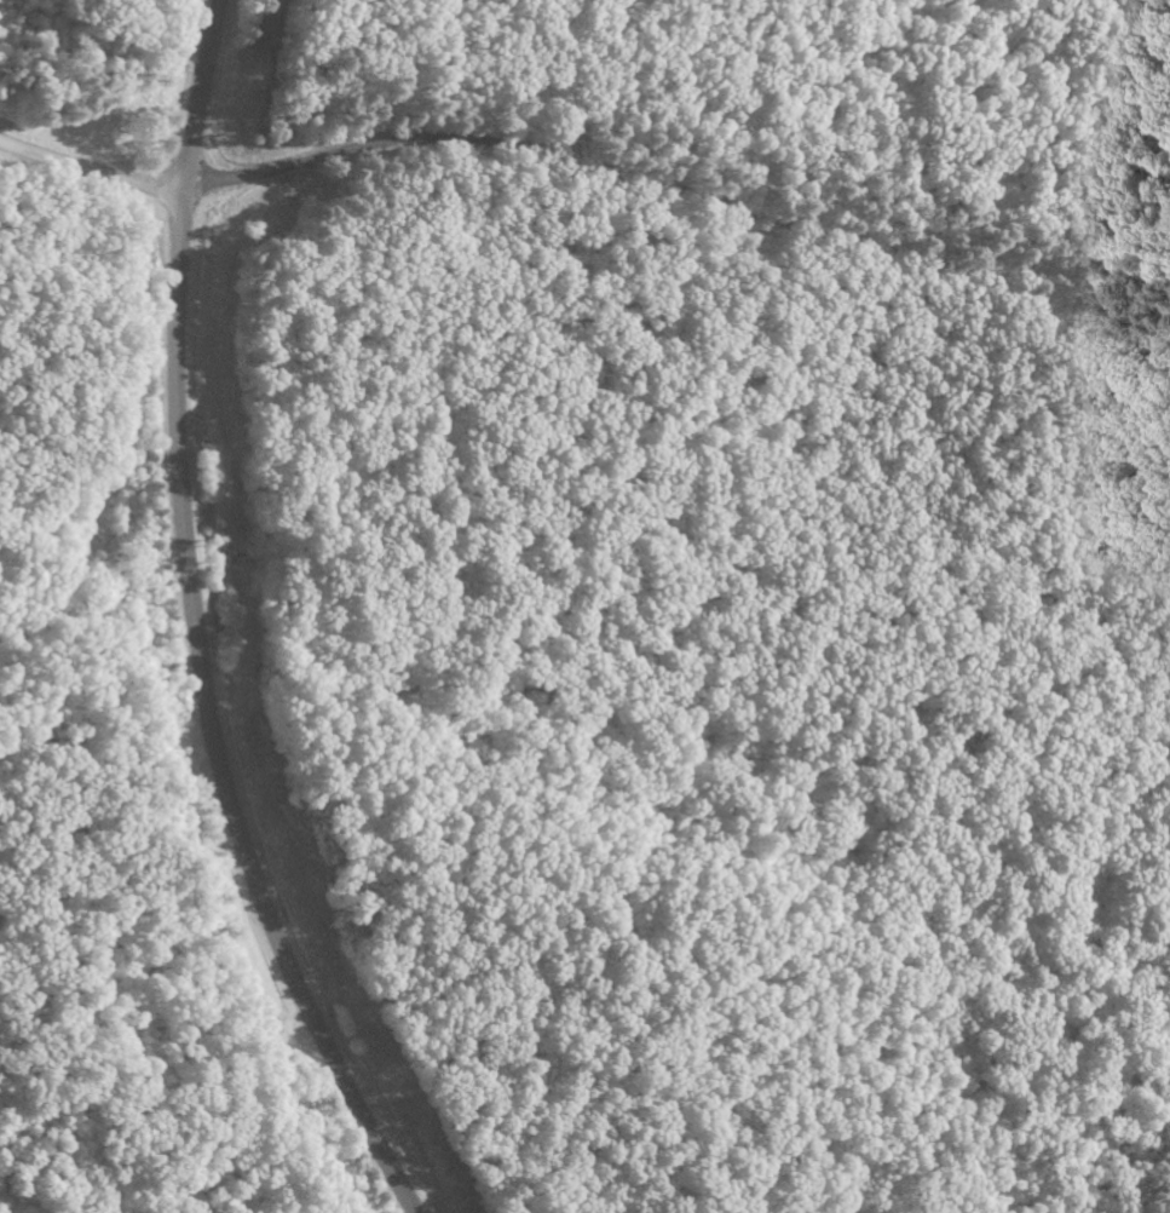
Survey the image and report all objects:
road: (92, 172)
road: (685, 195)
road: (194, 625)

